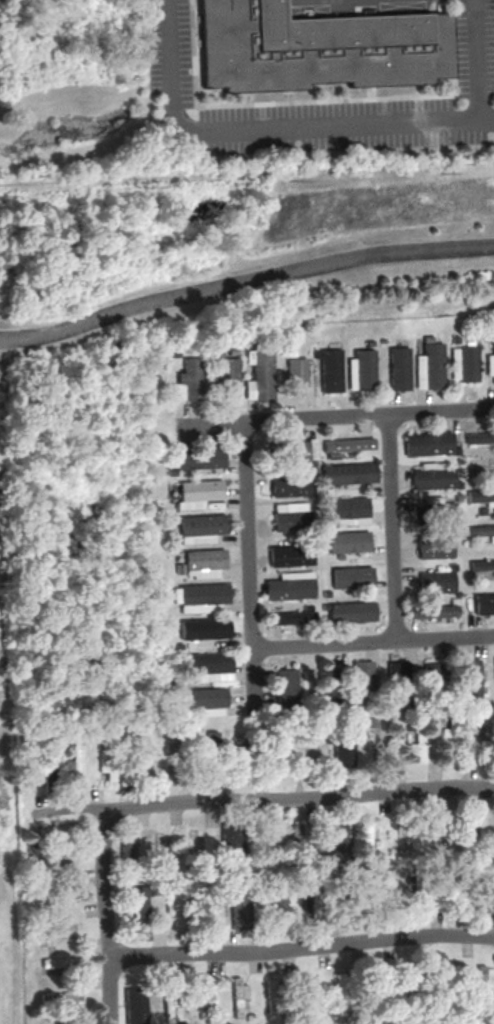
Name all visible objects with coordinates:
building: (318, 47)
road: (477, 61)
road: (273, 131)
road: (244, 279)
building: (465, 363)
building: (490, 363)
building: (430, 365)
building: (399, 368)
building: (362, 369)
building: (331, 370)
building: (296, 371)
building: (259, 375)
building: (227, 376)
building: (190, 379)
road: (336, 417)
road: (389, 436)
building: (481, 436)
building: (429, 443)
building: (348, 444)
building: (297, 448)
building: (199, 458)
building: (432, 465)
building: (349, 473)
building: (434, 478)
building: (291, 484)
building: (481, 496)
building: (348, 507)
building: (434, 511)
building: (289, 517)
building: (199, 528)
building: (481, 529)
building: (349, 542)
building: (435, 547)
road: (391, 550)
building: (289, 554)
building: (202, 562)
building: (482, 564)
road: (249, 569)
building: (351, 576)
building: (436, 581)
building: (288, 586)
building: (484, 603)
building: (433, 610)
building: (351, 612)
building: (292, 618)
building: (203, 628)
road: (445, 639)
road: (324, 646)
building: (207, 666)
building: (397, 672)
building: (362, 675)
building: (469, 678)
building: (285, 687)
building: (206, 701)
building: (417, 741)
building: (342, 746)
road: (299, 798)
road: (70, 811)
building: (336, 843)
building: (128, 847)
building: (277, 902)
building: (173, 910)
building: (239, 910)
road: (107, 916)
road: (302, 947)
building: (484, 979)
building: (204, 994)
building: (62, 998)
building: (170, 1004)
building: (136, 1005)

